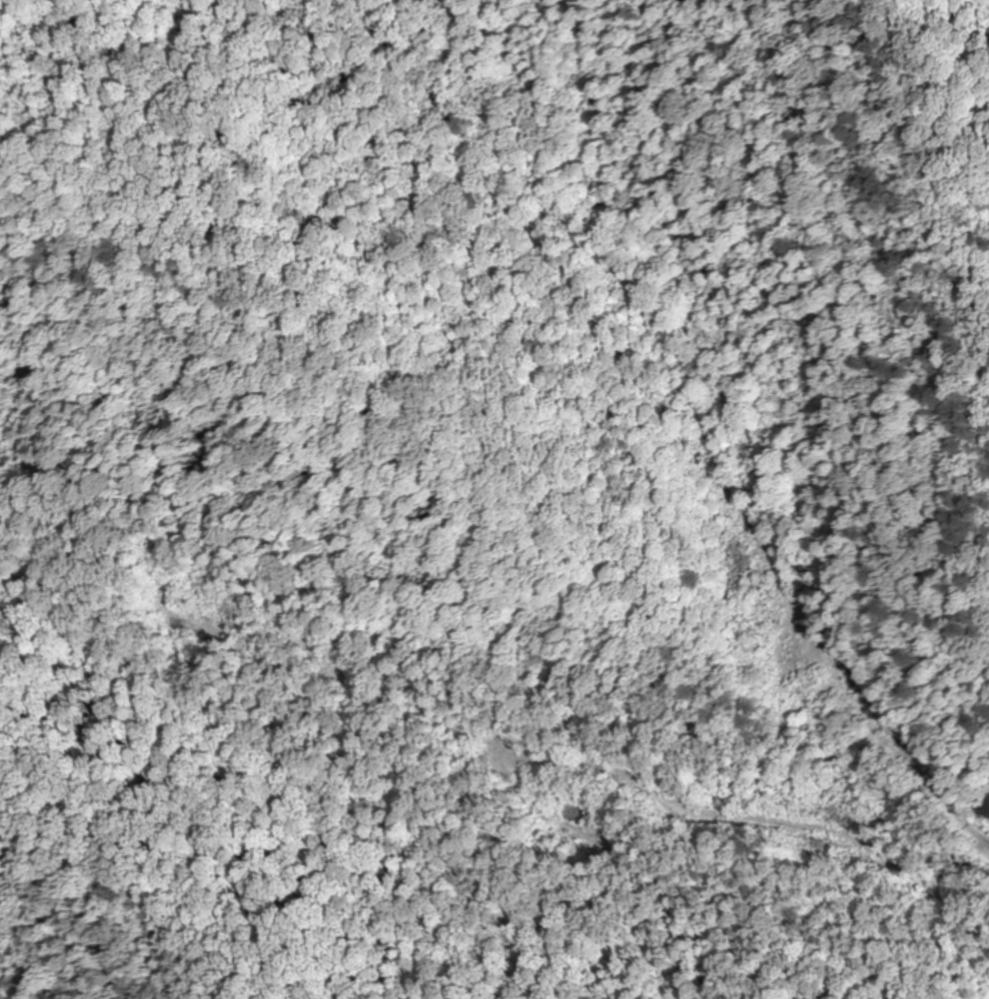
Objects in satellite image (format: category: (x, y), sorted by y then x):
building: (982, 804)
building: (577, 812)

